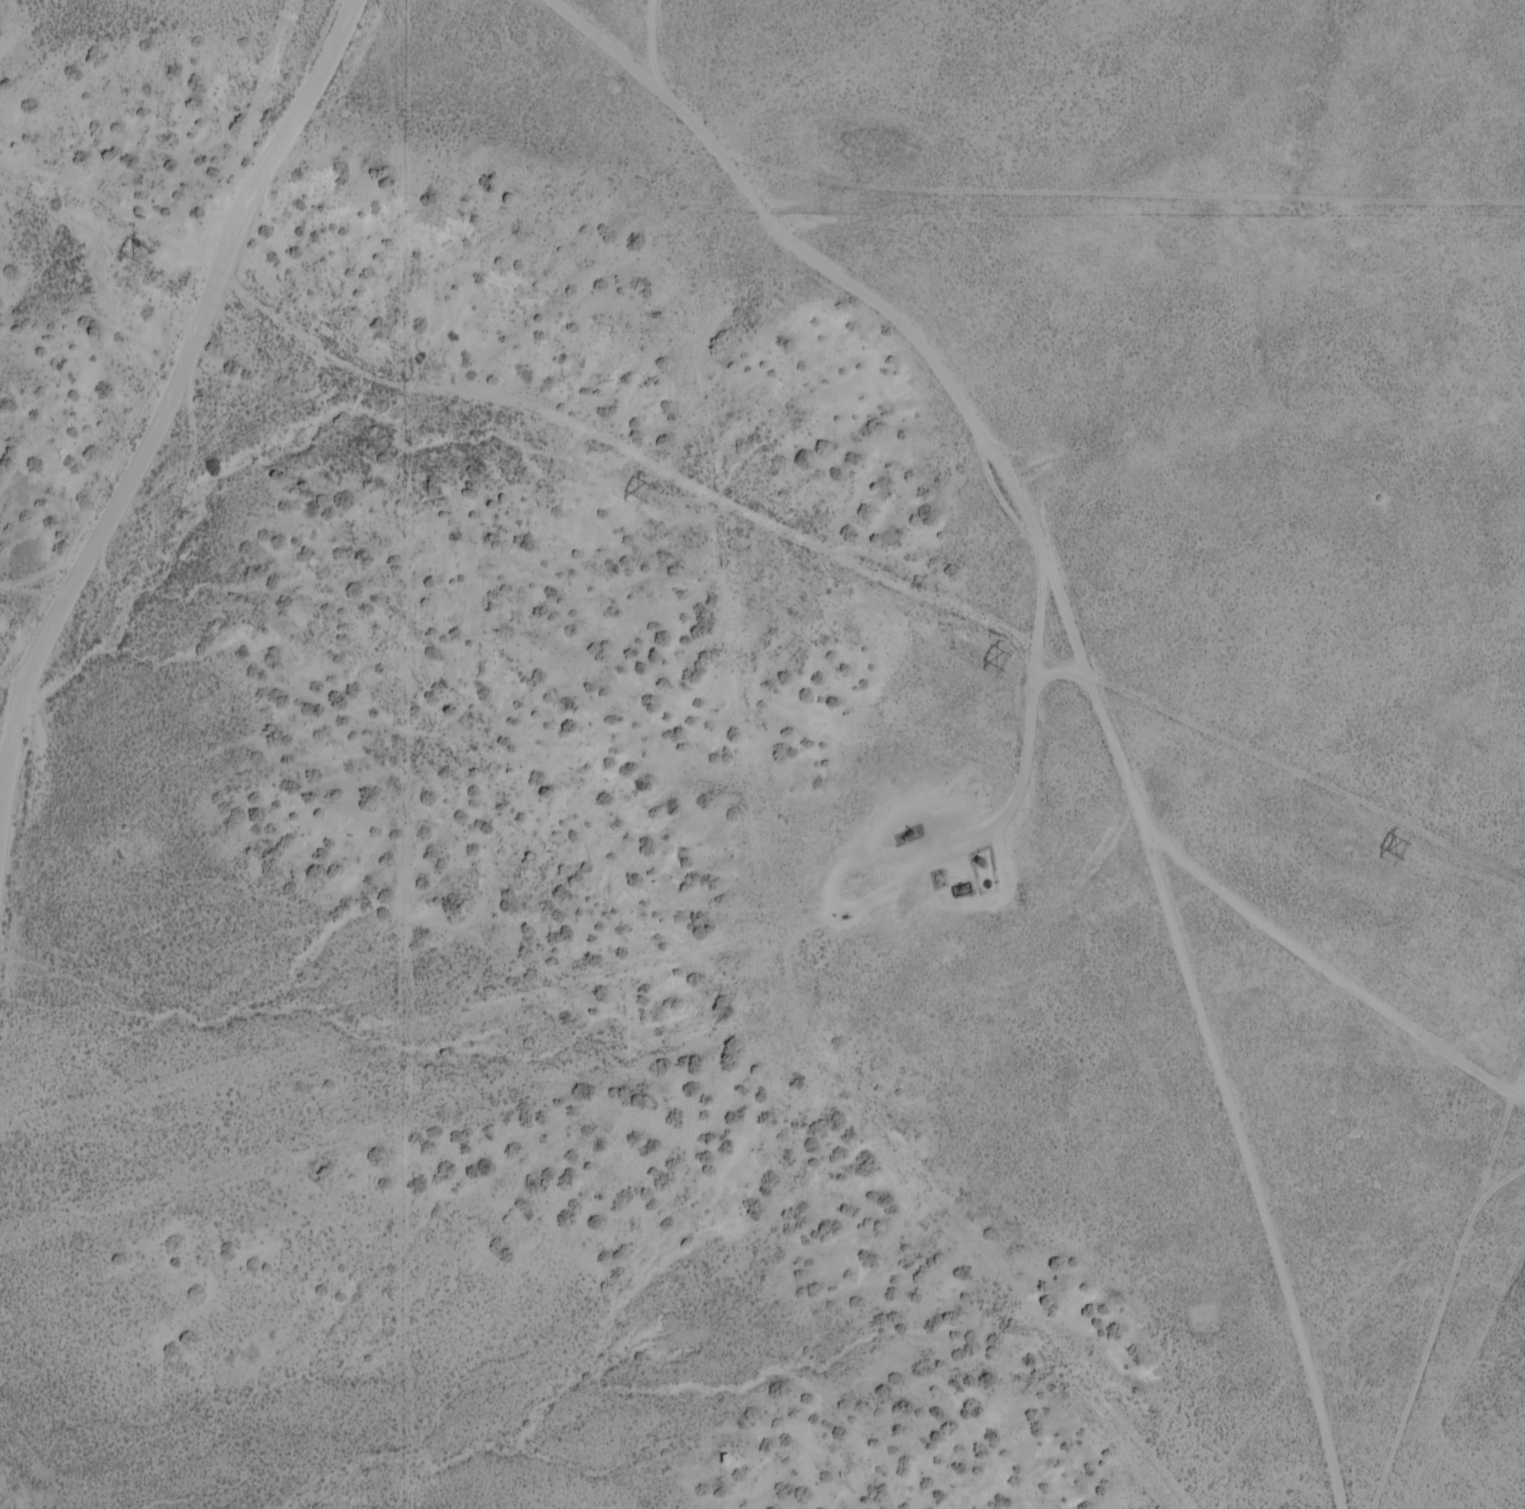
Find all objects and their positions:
road: (1120, 198)
power tower: (137, 256)
road: (167, 411)
power tower: (649, 499)
power tower: (1006, 666)
road: (1088, 669)
power tower: (1404, 854)
road: (1452, 1283)

